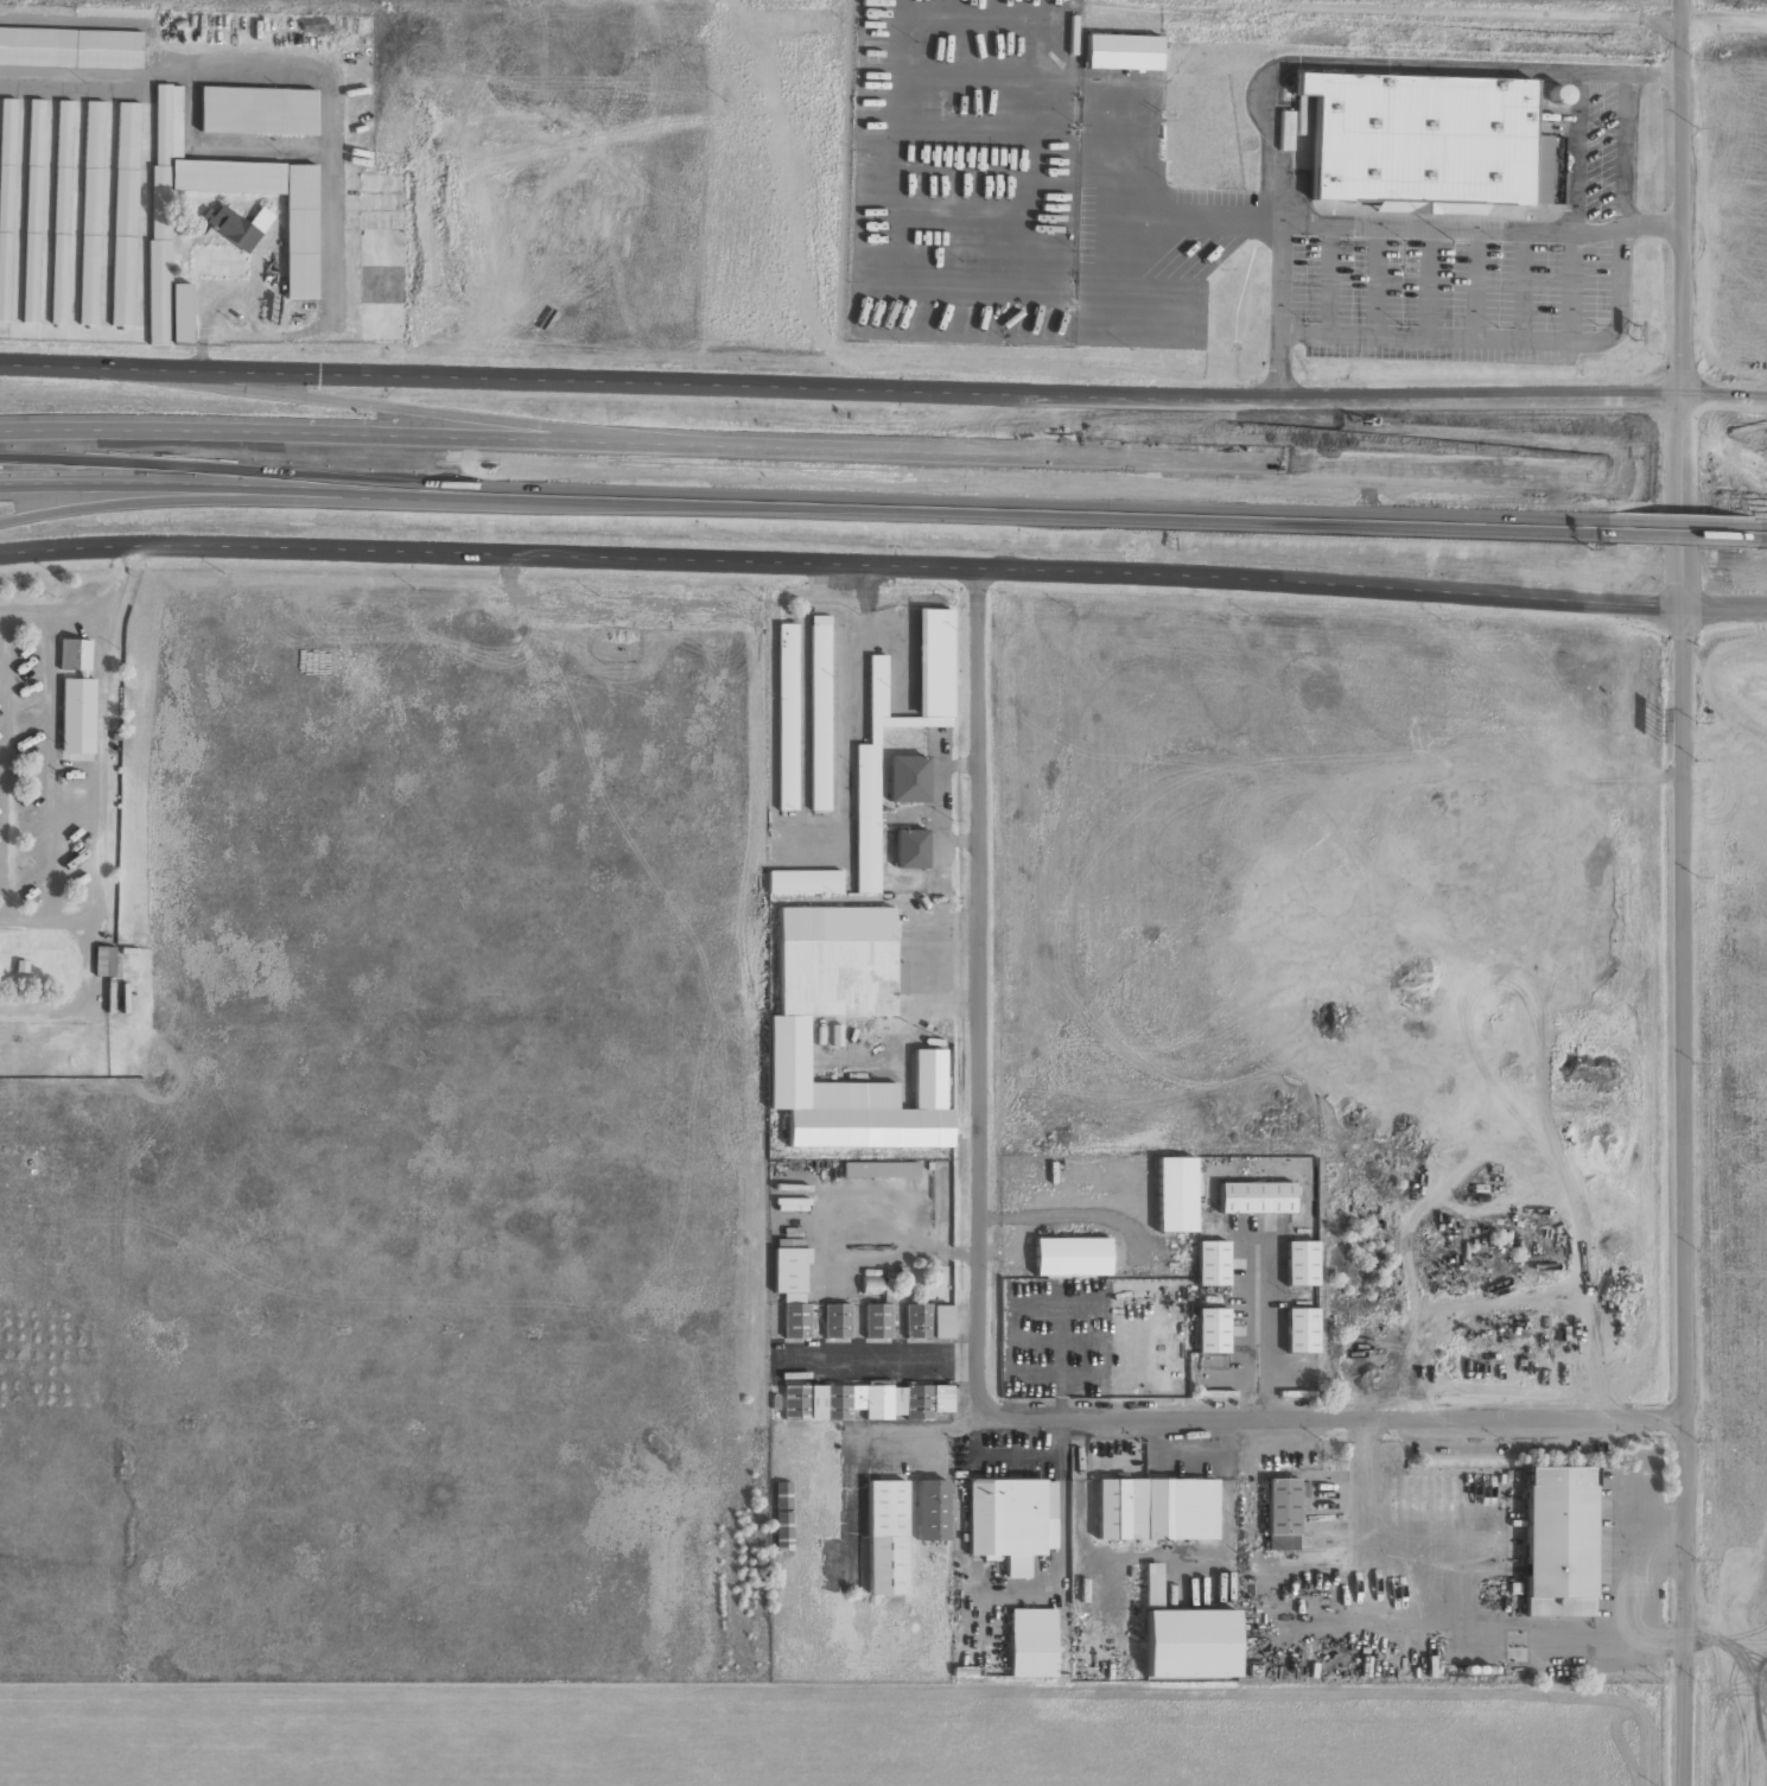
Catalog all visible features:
building: (70, 47)
building: (256, 110)
building: (1418, 139)
building: (5, 202)
building: (31, 211)
building: (59, 211)
building: (90, 212)
building: (123, 214)
building: (234, 228)
building: (299, 246)
road: (1678, 300)
building: (179, 313)
road: (883, 390)
road: (374, 405)
road: (450, 437)
road: (1252, 462)
road: (1680, 476)
road: (1762, 478)
road: (447, 492)
road: (185, 500)
road: (1250, 513)
road: (1680, 529)
road: (1762, 533)
road: (883, 567)
building: (74, 654)
building: (818, 713)
building: (76, 716)
building: (786, 717)
building: (901, 722)
building: (907, 778)
building: (910, 848)
building: (803, 882)
building: (103, 961)
building: (837, 962)
building: (882, 1117)
road: (1683, 1145)
building: (879, 1170)
building: (1175, 1194)
building: (792, 1205)
building: (1070, 1257)
building: (1212, 1263)
building: (1299, 1263)
building: (792, 1291)
building: (837, 1321)
building: (877, 1321)
building: (927, 1321)
building: (1212, 1330)
building: (1301, 1330)
road: (981, 1336)
building: (864, 1402)
building: (930, 1509)
building: (1156, 1509)
building: (1282, 1514)
building: (782, 1515)
building: (1010, 1521)
building: (885, 1538)
building: (1558, 1542)
building: (1183, 1636)
building: (1031, 1642)
road: (1686, 1736)

